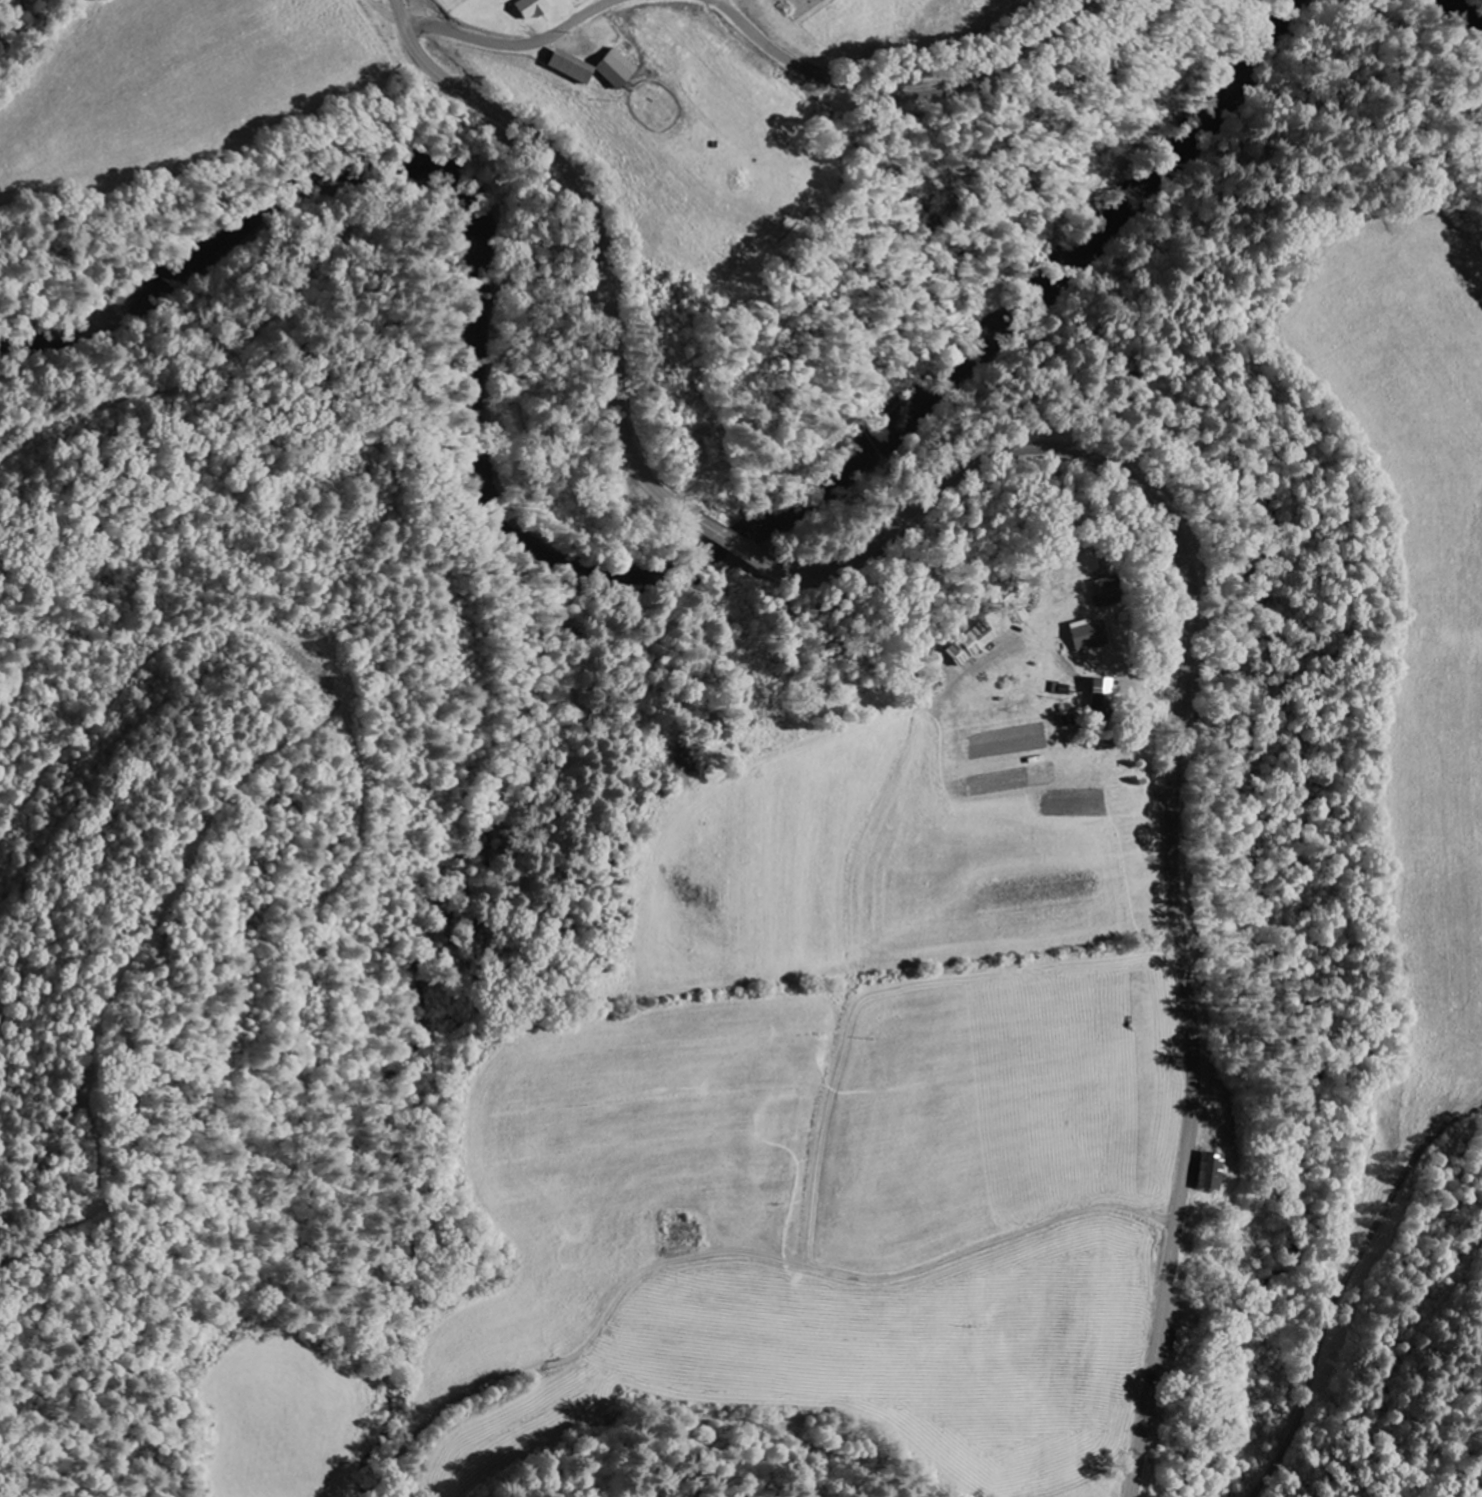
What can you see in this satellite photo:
park: (796, 6)
river: (1468, 8)
building: (524, 9)
road: (510, 43)
building: (563, 68)
building: (609, 70)
road: (897, 92)
road: (594, 231)
road: (732, 541)
river: (580, 577)
building: (1103, 593)
building: (1086, 636)
building: (967, 644)
building: (1097, 690)
road: (1173, 777)
building: (1206, 1172)
road: (779, 1277)

